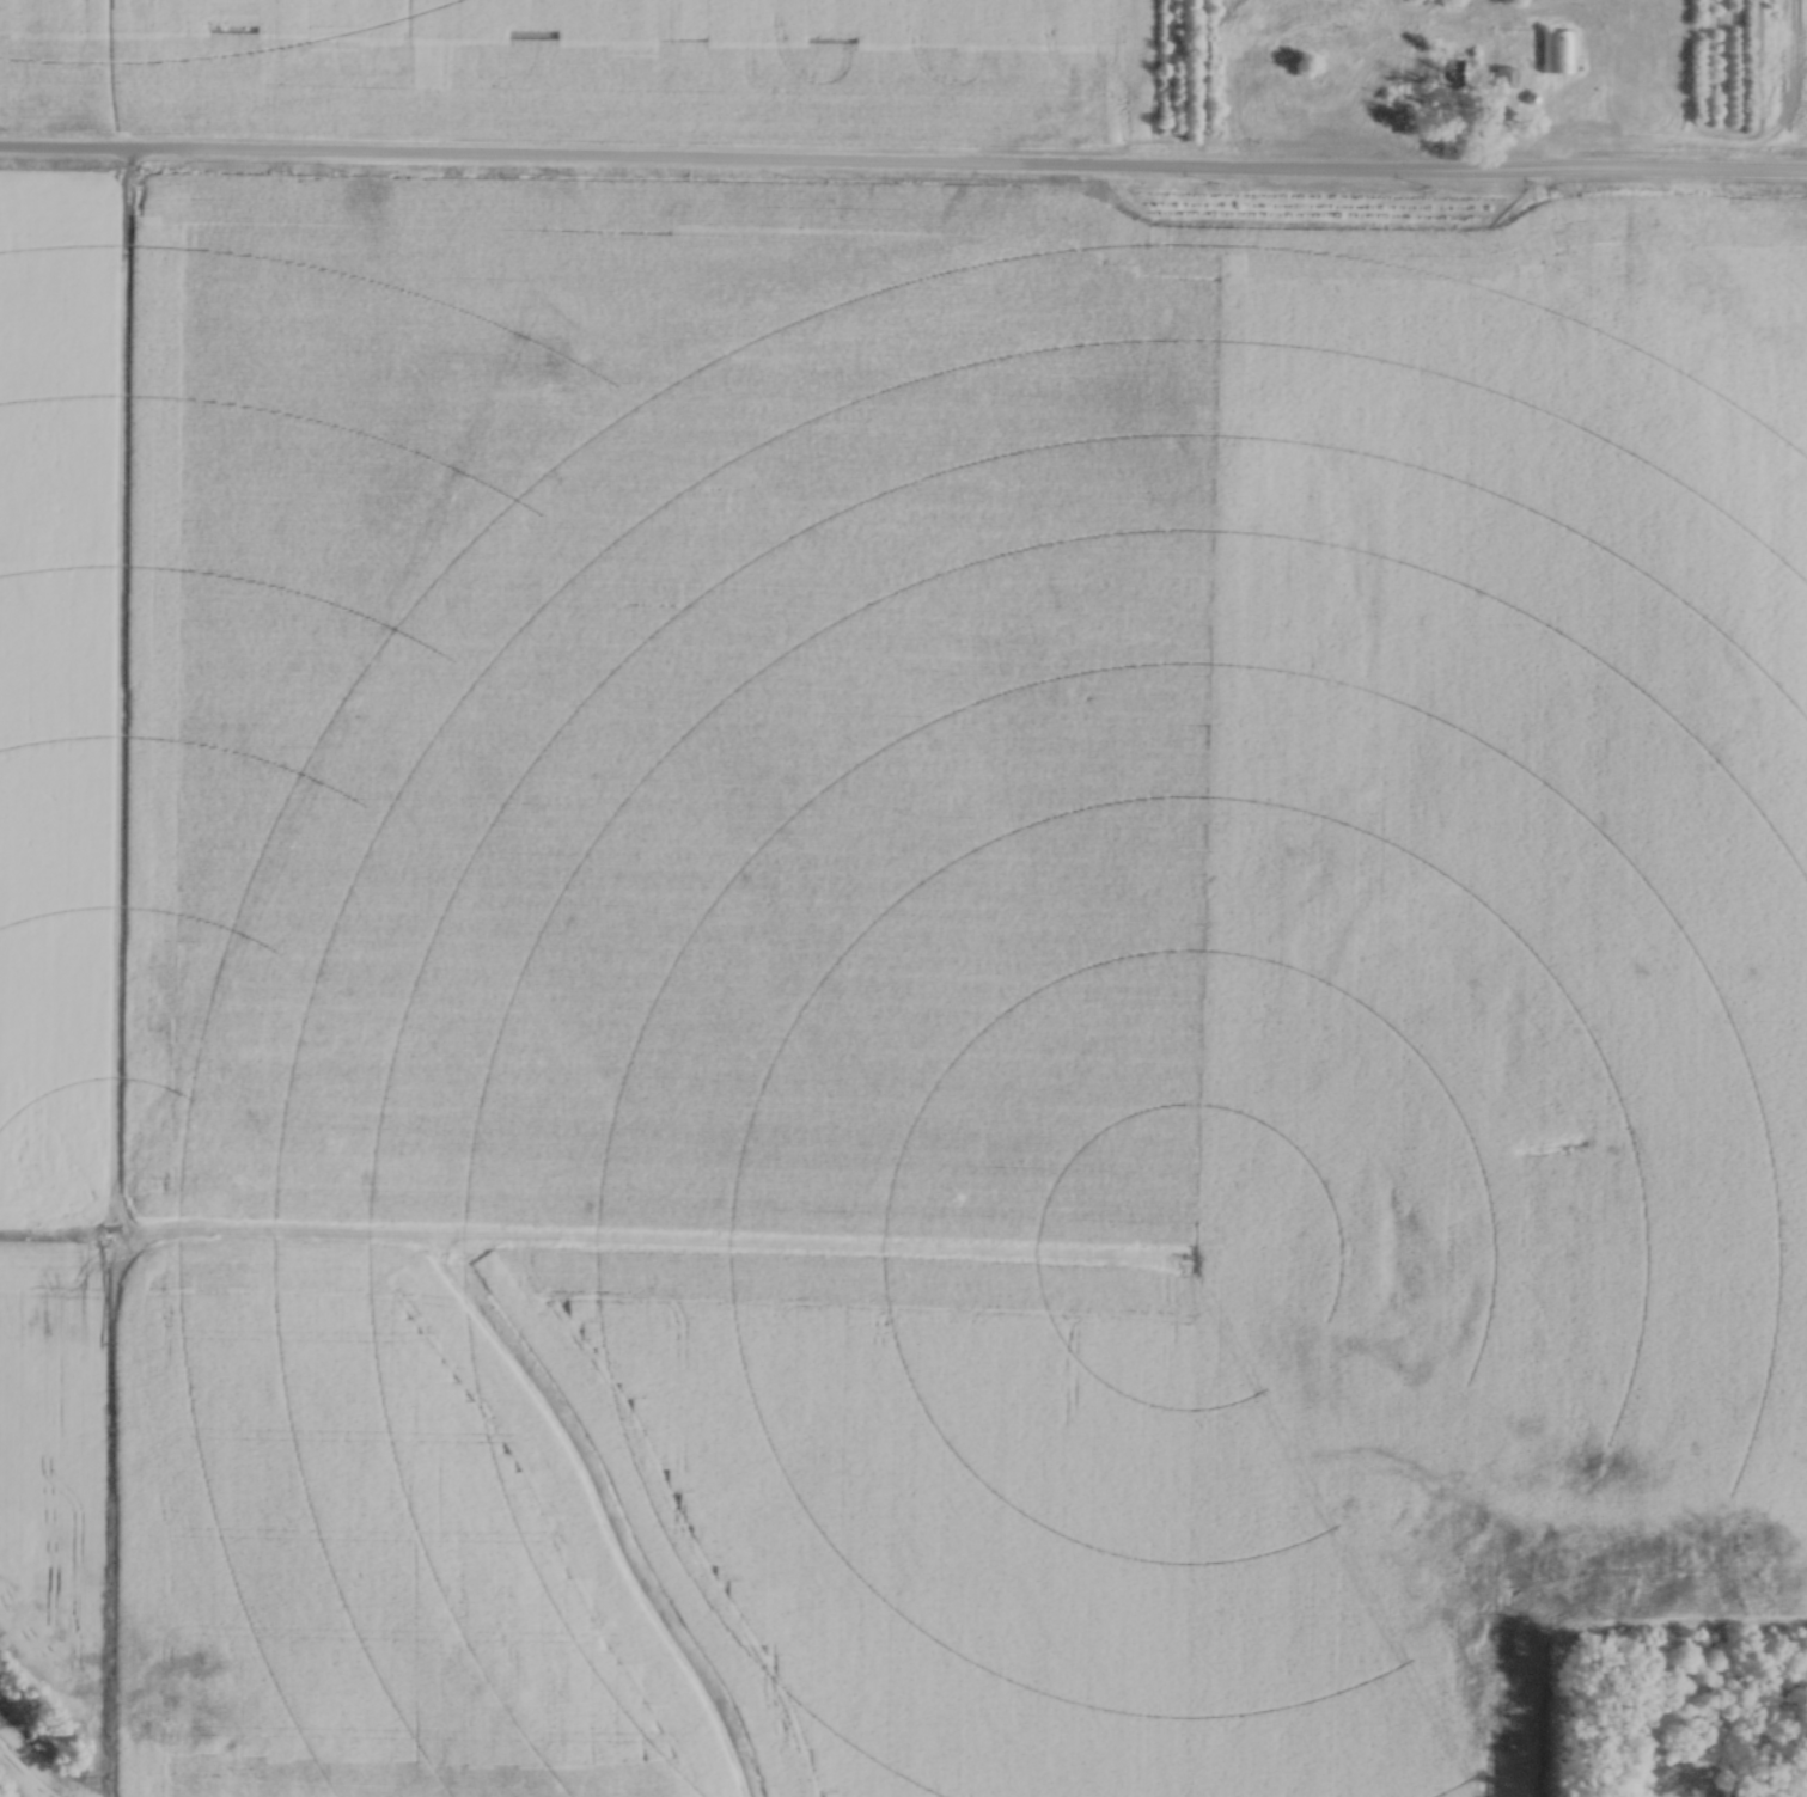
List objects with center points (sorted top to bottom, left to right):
building: (1559, 51)
building: (1453, 73)
building: (1507, 78)
road: (903, 170)

